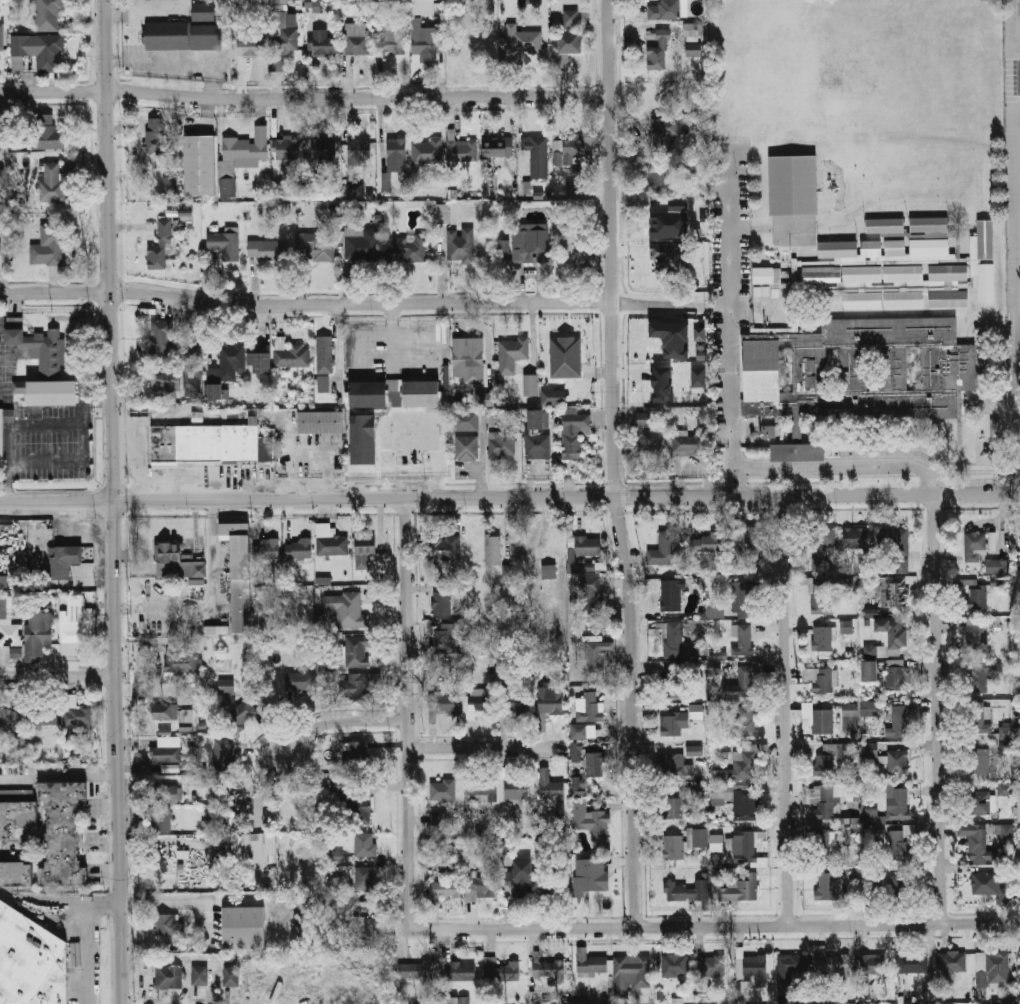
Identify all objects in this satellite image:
building: (315, 5)
building: (425, 7)
building: (665, 10)
building: (203, 13)
building: (49, 15)
building: (571, 18)
building: (279, 19)
building: (692, 33)
building: (207, 35)
building: (167, 36)
building: (393, 37)
building: (357, 38)
building: (524, 39)
building: (2, 41)
building: (286, 42)
building: (323, 42)
building: (427, 42)
building: (568, 46)
building: (254, 48)
building: (660, 51)
building: (37, 52)
road: (304, 98)
building: (45, 133)
building: (664, 133)
building: (155, 136)
building: (247, 146)
building: (497, 147)
building: (324, 148)
building: (568, 149)
building: (288, 150)
building: (462, 150)
building: (427, 151)
building: (360, 152)
building: (396, 153)
building: (537, 154)
building: (201, 165)
building: (690, 166)
building: (51, 182)
building: (658, 182)
building: (4, 183)
building: (794, 184)
building: (169, 186)
building: (228, 187)
building: (575, 187)
building: (351, 189)
building: (442, 212)
building: (671, 221)
building: (929, 224)
building: (885, 225)
building: (1, 242)
building: (569, 242)
building: (226, 243)
building: (531, 243)
building: (360, 244)
building: (461, 244)
building: (48, 246)
building: (314, 246)
building: (412, 247)
building: (160, 248)
building: (503, 248)
building: (261, 250)
building: (885, 250)
building: (670, 257)
building: (974, 261)
building: (767, 275)
building: (890, 285)
road: (660, 302)
road: (719, 302)
road: (306, 304)
road: (730, 322)
building: (701, 334)
building: (676, 338)
building: (703, 346)
building: (36, 347)
building: (325, 354)
building: (512, 354)
building: (291, 355)
building: (168, 356)
building: (705, 356)
building: (566, 357)
building: (468, 358)
building: (263, 363)
building: (225, 369)
building: (861, 370)
building: (700, 377)
building: (192, 383)
building: (323, 383)
building: (530, 384)
building: (663, 384)
building: (47, 392)
building: (422, 392)
building: (370, 394)
building: (553, 397)
building: (485, 399)
road: (1017, 403)
building: (7, 415)
building: (320, 421)
building: (466, 421)
building: (796, 423)
road: (45, 424)
building: (994, 428)
building: (574, 434)
building: (537, 436)
building: (364, 438)
building: (1, 439)
building: (650, 440)
building: (206, 441)
parking lot: (45, 442)
building: (503, 444)
building: (689, 444)
road: (83, 448)
building: (467, 448)
building: (796, 452)
road: (879, 457)
road: (7, 463)
road: (614, 464)
road: (842, 465)
parking lot: (46, 474)
road: (511, 488)
road: (622, 493)
road: (102, 496)
road: (510, 500)
road: (114, 502)
road: (108, 511)
road: (1001, 512)
building: (1017, 521)
building: (733, 534)
building: (857, 537)
building: (755, 539)
building: (330, 541)
building: (706, 543)
building: (588, 544)
building: (973, 545)
building: (371, 547)
building: (821, 547)
building: (269, 548)
building: (299, 548)
building: (666, 548)
building: (896, 549)
building: (493, 551)
building: (65, 560)
building: (176, 562)
building: (996, 565)
building: (581, 566)
building: (506, 571)
building: (548, 571)
building: (240, 574)
building: (968, 581)
building: (3, 582)
building: (848, 585)
building: (1018, 587)
building: (893, 592)
building: (818, 595)
building: (672, 596)
building: (976, 597)
building: (591, 598)
building: (443, 600)
building: (741, 600)
building: (346, 609)
building: (715, 612)
building: (76, 625)
building: (8, 626)
building: (845, 626)
building: (657, 630)
building: (38, 633)
building: (976, 634)
building: (892, 635)
building: (448, 636)
building: (822, 638)
building: (743, 640)
building: (674, 641)
building: (357, 651)
building: (824, 654)
building: (597, 655)
building: (181, 663)
building: (714, 668)
building: (871, 670)
building: (983, 673)
building: (897, 675)
road: (57, 677)
building: (821, 678)
building: (744, 679)
building: (300, 681)
building: (358, 684)
building: (226, 685)
building: (672, 688)
building: (552, 697)
building: (443, 704)
building: (481, 704)
building: (515, 704)
building: (589, 707)
building: (868, 708)
road: (938, 709)
building: (76, 711)
building: (697, 711)
road: (786, 711)
building: (44, 712)
building: (164, 712)
building: (241, 714)
road: (407, 716)
building: (850, 716)
building: (981, 717)
building: (744, 719)
building: (11, 720)
building: (185, 720)
building: (822, 720)
building: (898, 720)
building: (671, 725)
building: (1003, 730)
building: (579, 731)
road: (412, 739)
building: (1004, 747)
building: (870, 749)
building: (167, 750)
building: (358, 751)
building: (575, 751)
building: (834, 754)
building: (223, 755)
building: (979, 760)
building: (899, 762)
building: (595, 764)
building: (674, 765)
building: (743, 765)
road: (57, 774)
building: (578, 785)
building: (339, 787)
building: (550, 787)
building: (517, 788)
building: (1003, 788)
building: (443, 790)
building: (482, 791)
building: (827, 800)
building: (742, 802)
building: (979, 802)
building: (900, 805)
building: (1018, 806)
building: (560, 807)
building: (673, 808)
building: (258, 809)
building: (163, 810)
building: (360, 811)
building: (17, 814)
building: (871, 815)
building: (438, 818)
building: (590, 820)
building: (1006, 831)
building: (62, 832)
building: (699, 837)
building: (1018, 837)
building: (716, 842)
building: (975, 842)
building: (744, 844)
building: (366, 845)
building: (900, 845)
building: (823, 846)
building: (260, 847)
building: (674, 847)
building: (336, 855)
building: (446, 864)
building: (15, 873)
building: (591, 875)
building: (366, 879)
building: (523, 879)
building: (336, 883)
building: (827, 885)
building: (989, 886)
building: (735, 887)
building: (480, 888)
building: (897, 888)
building: (446, 889)
building: (684, 891)
road: (177, 903)
road: (42, 904)
building: (166, 924)
building: (245, 927)
road: (706, 927)
road: (85, 937)
building: (24, 955)
building: (819, 957)
building: (952, 962)
building: (591, 963)
building: (875, 963)
building: (913, 963)
building: (675, 965)
building: (840, 965)
building: (713, 966)
building: (994, 966)
building: (756, 968)
building: (788, 969)
building: (411, 971)
building: (461, 971)
building: (501, 971)
building: (549, 971)
building: (631, 973)
building: (201, 975)
building: (232, 976)
building: (168, 977)
building: (54, 983)
road: (147, 984)
building: (455, 1000)

